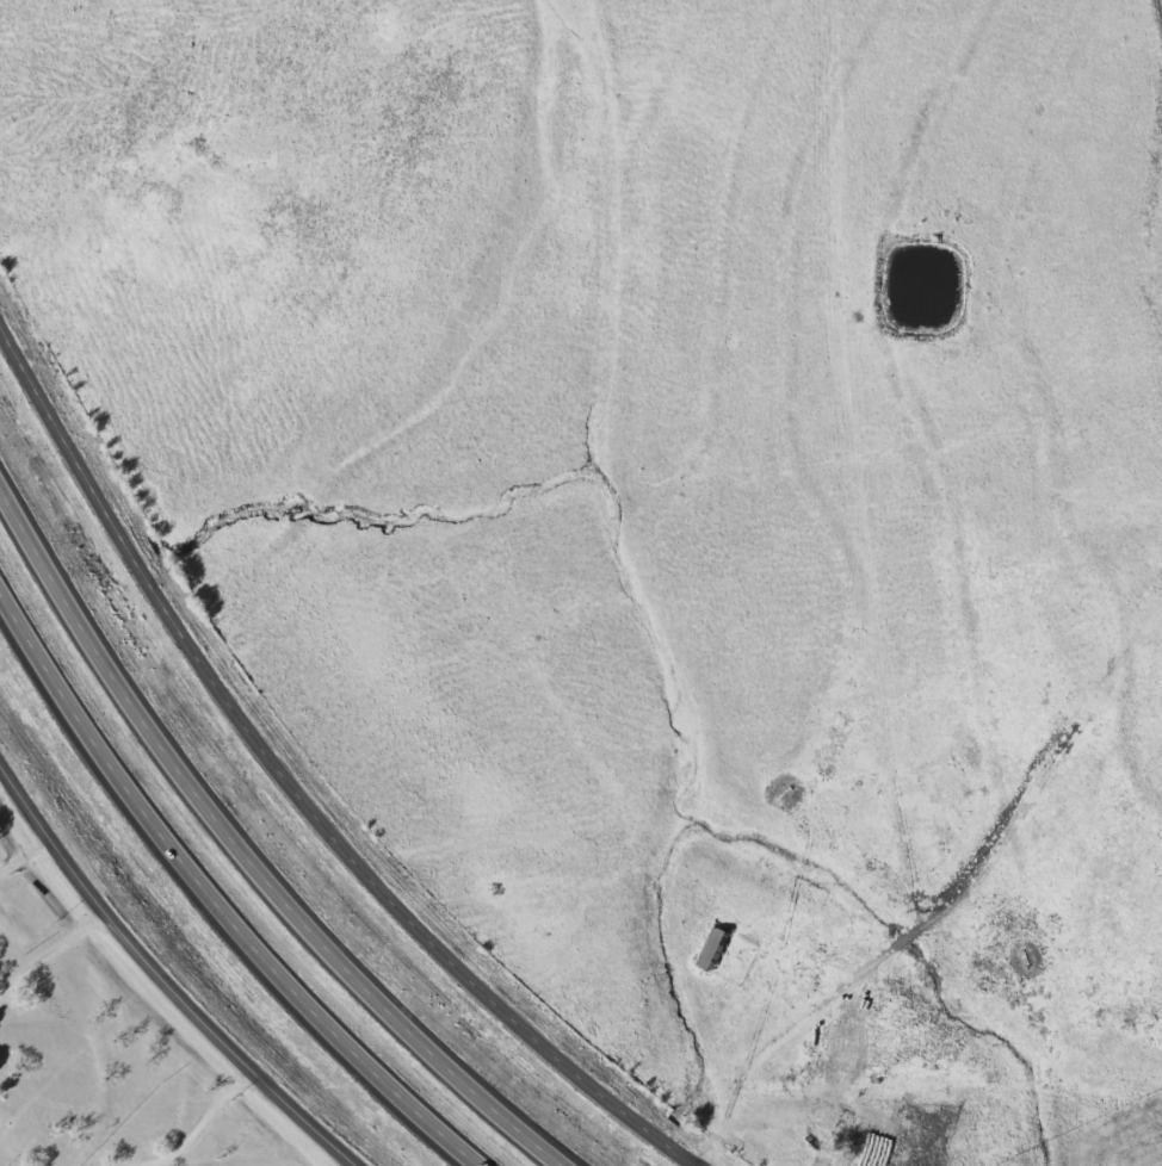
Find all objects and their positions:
road: (293, 786)
road: (248, 851)
road: (27, 857)
road: (216, 898)
building: (709, 949)
road: (54, 950)
road: (168, 975)
road: (741, 1079)
road: (202, 1122)
road: (357, 1164)

